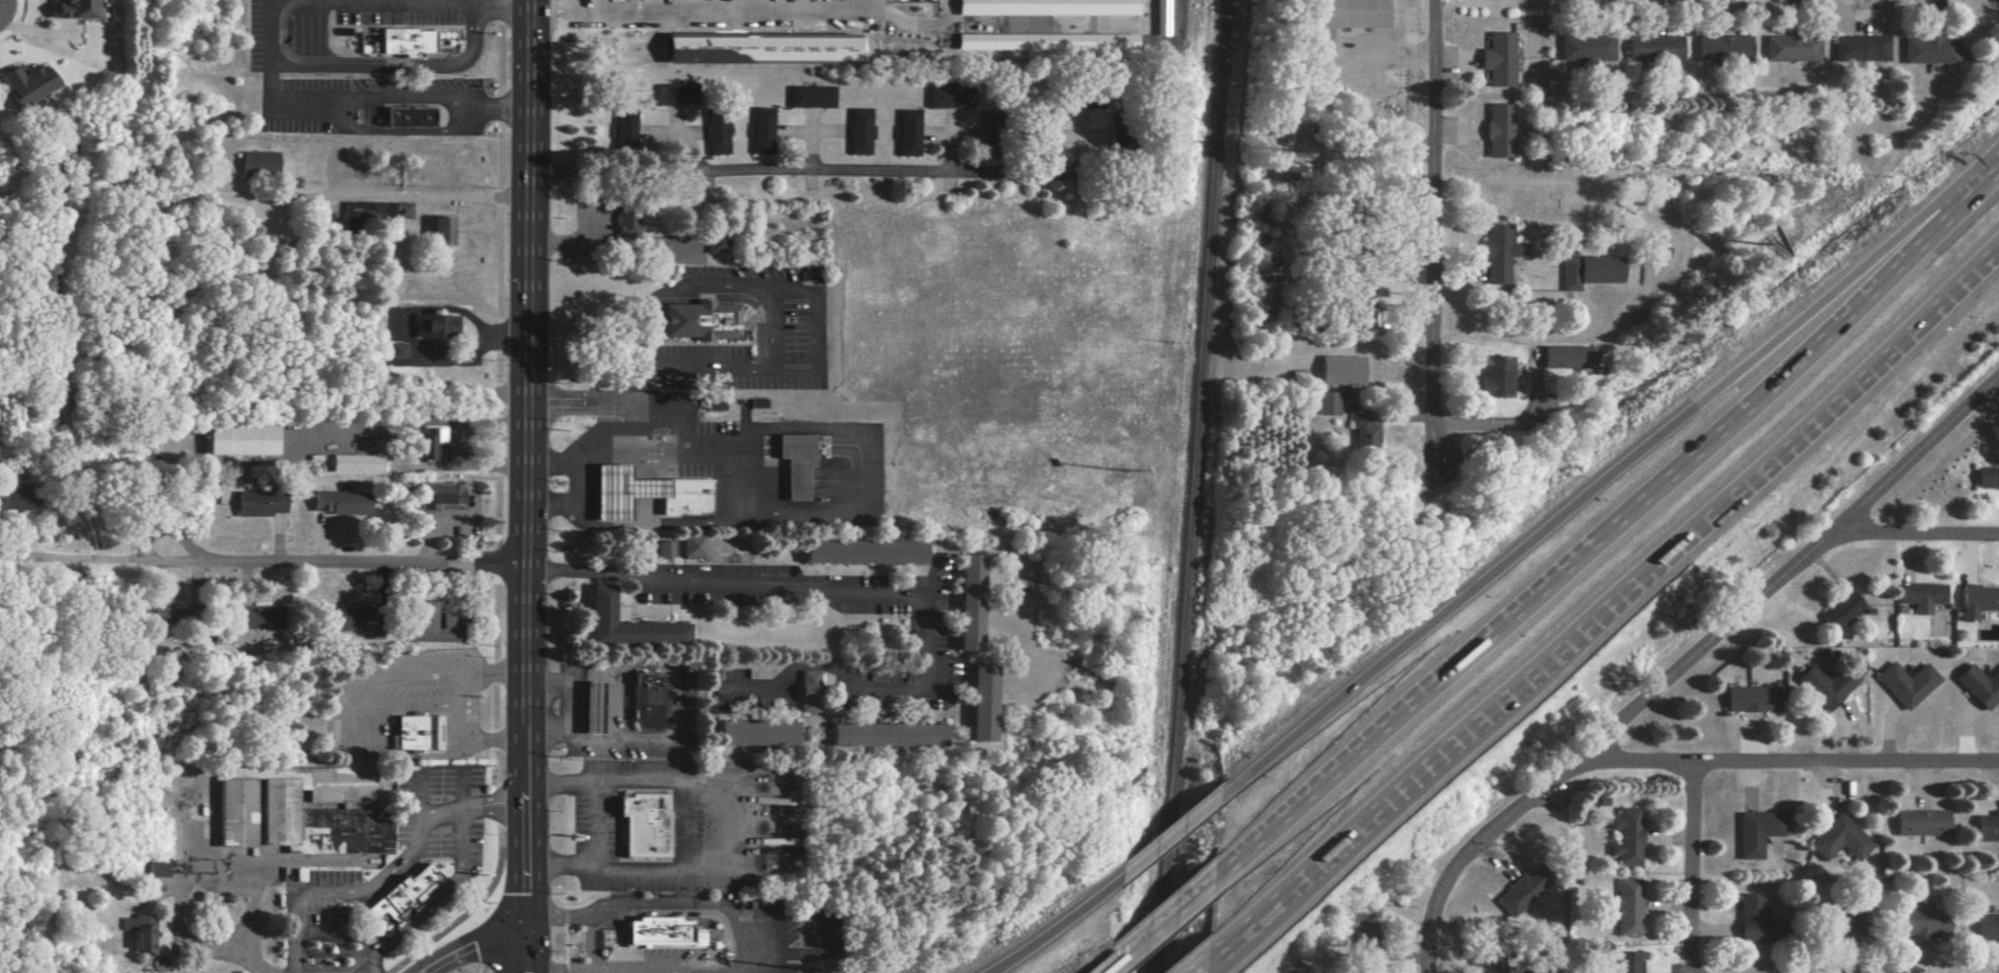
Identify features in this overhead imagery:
road: (481, 4)
building: (1044, 7)
building: (70, 9)
road: (721, 10)
road: (942, 11)
road: (564, 12)
building: (1350, 13)
road: (898, 17)
building: (1159, 17)
road: (1053, 24)
building: (1043, 42)
building: (406, 43)
building: (1585, 48)
building: (1653, 48)
building: (1722, 48)
building: (1790, 48)
building: (1859, 48)
building: (1929, 50)
building: (1497, 59)
road: (390, 67)
building: (25, 86)
road: (404, 92)
building: (671, 94)
building: (810, 97)
building: (943, 98)
road: (308, 102)
road: (499, 102)
building: (409, 118)
building: (623, 128)
building: (761, 130)
road: (406, 131)
building: (1498, 131)
building: (859, 132)
building: (907, 133)
building: (716, 136)
building: (256, 163)
road: (808, 175)
road: (392, 192)
building: (375, 211)
building: (626, 225)
building: (438, 232)
building: (717, 244)
building: (1497, 254)
road: (1435, 261)
building: (1589, 270)
road: (672, 298)
building: (702, 321)
building: (433, 325)
road: (773, 333)
building: (394, 350)
building: (1569, 356)
building: (1340, 370)
road: (769, 372)
building: (1497, 376)
building: (1326, 402)
building: (712, 404)
building: (1364, 432)
building: (238, 440)
building: (428, 445)
road: (555, 458)
building: (353, 463)
building: (796, 463)
road: (739, 466)
road: (1607, 475)
building: (1987, 477)
road: (583, 479)
road: (527, 486)
railway: (1185, 486)
building: (622, 489)
building: (436, 494)
building: (685, 495)
building: (17, 502)
building: (256, 503)
building: (337, 503)
road: (1608, 526)
road: (1919, 537)
building: (691, 546)
building: (663, 548)
building: (860, 551)
road: (96, 563)
road: (334, 563)
road: (1636, 577)
road: (892, 589)
building: (1920, 596)
building: (1977, 600)
building: (967, 602)
building: (1840, 609)
building: (256, 618)
building: (431, 623)
building: (625, 624)
road: (1690, 667)
building: (1905, 683)
building: (1825, 685)
building: (1979, 685)
building: (806, 691)
building: (1751, 698)
building: (649, 701)
building: (980, 702)
building: (595, 707)
road: (457, 712)
building: (421, 732)
building: (753, 732)
building: (885, 734)
road: (1789, 766)
road: (471, 806)
building: (237, 812)
building: (322, 814)
building: (1921, 822)
building: (646, 825)
road: (736, 825)
building: (1986, 826)
road: (1168, 833)
building: (1755, 833)
building: (1625, 836)
building: (1838, 839)
building: (157, 867)
road: (1695, 869)
road: (195, 872)
road: (374, 883)
building: (1521, 892)
building: (406, 893)
road: (438, 897)
building: (1627, 907)
building: (1750, 918)
road: (782, 921)
road: (1159, 921)
building: (1919, 924)
road: (1053, 926)
building: (1987, 927)
road: (1236, 928)
building: (140, 932)
building: (658, 932)
road: (294, 937)
road: (1239, 937)
building: (1365, 942)
road: (472, 947)
building: (1625, 962)
road: (258, 964)
road: (1195, 964)
building: (1503, 968)
road: (1104, 969)

